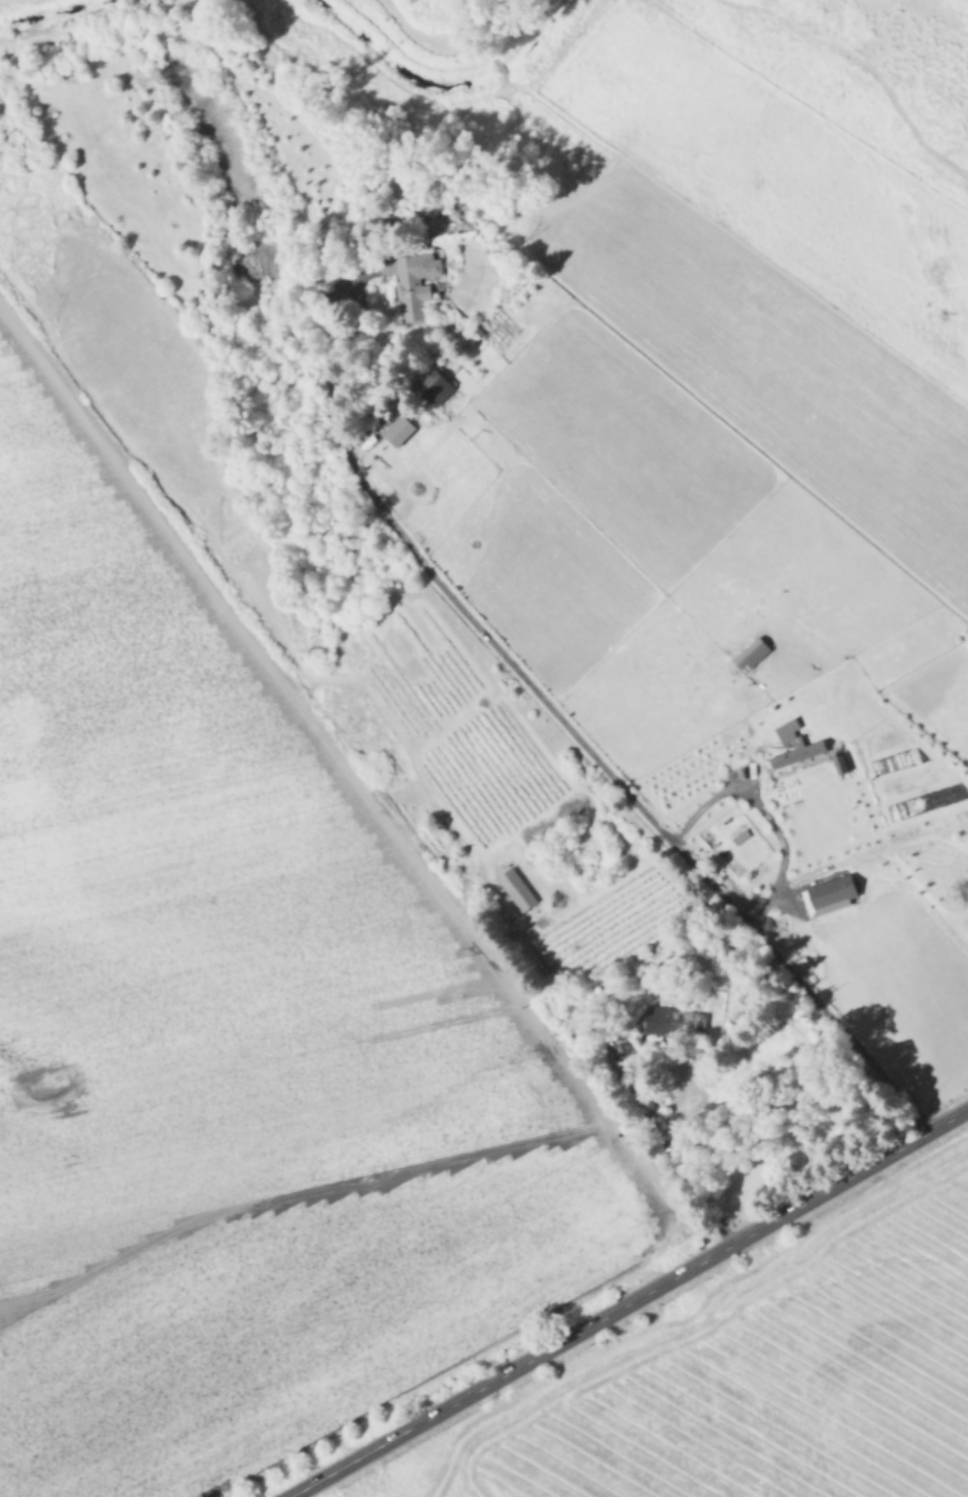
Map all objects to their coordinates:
building: (412, 285)
building: (436, 383)
building: (746, 649)
road: (559, 719)
building: (810, 747)
road: (768, 821)
building: (518, 887)
crop: (192, 905)
building: (534, 958)
building: (747, 992)
building: (674, 1018)
building: (624, 1045)
road: (621, 1080)
road: (689, 1269)
crop: (289, 1316)
road: (350, 1462)

